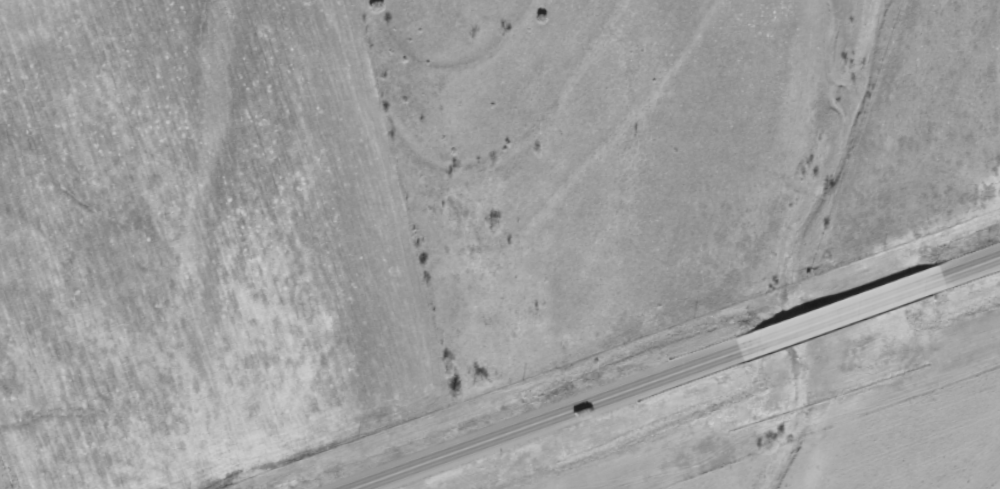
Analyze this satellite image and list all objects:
road: (965, 264)
road: (835, 312)
road: (529, 418)

